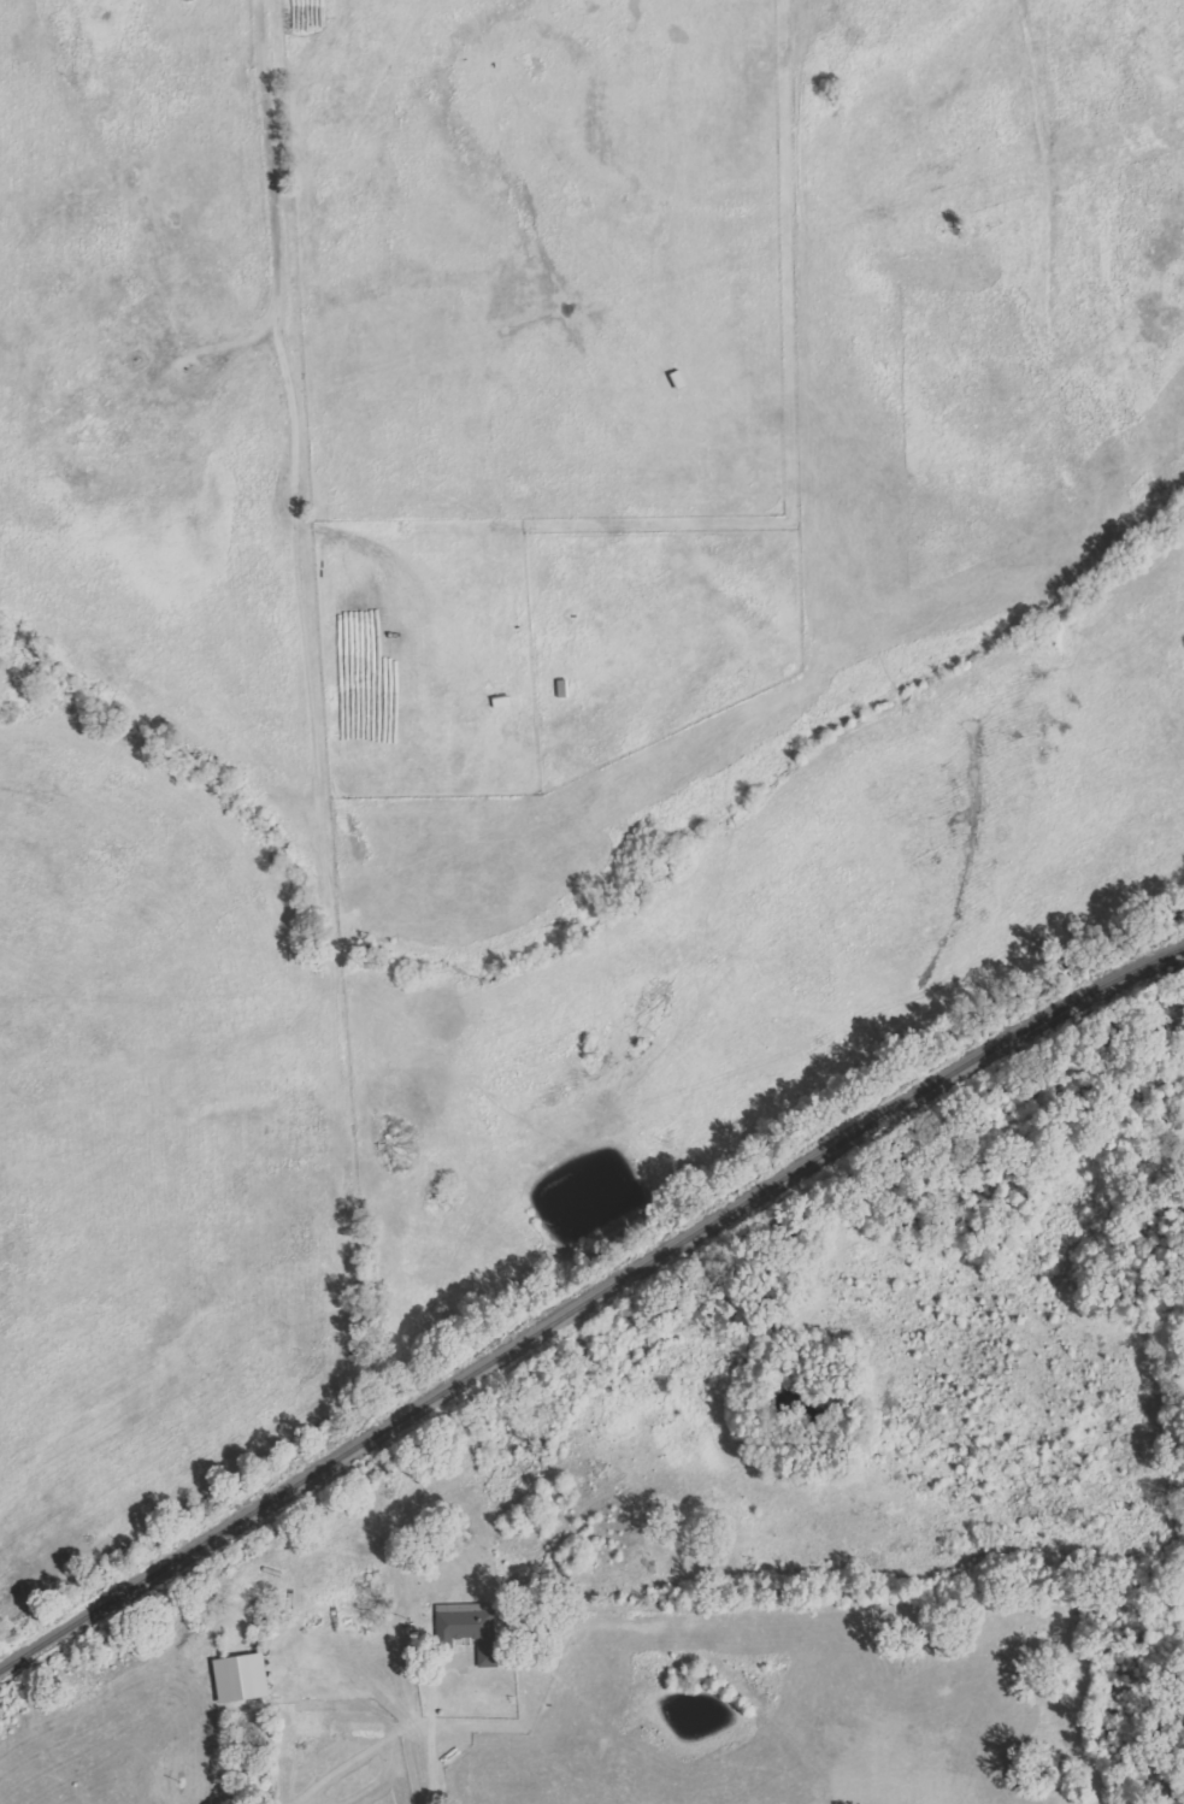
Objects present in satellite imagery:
railway: (587, 1299)
building: (473, 1632)

